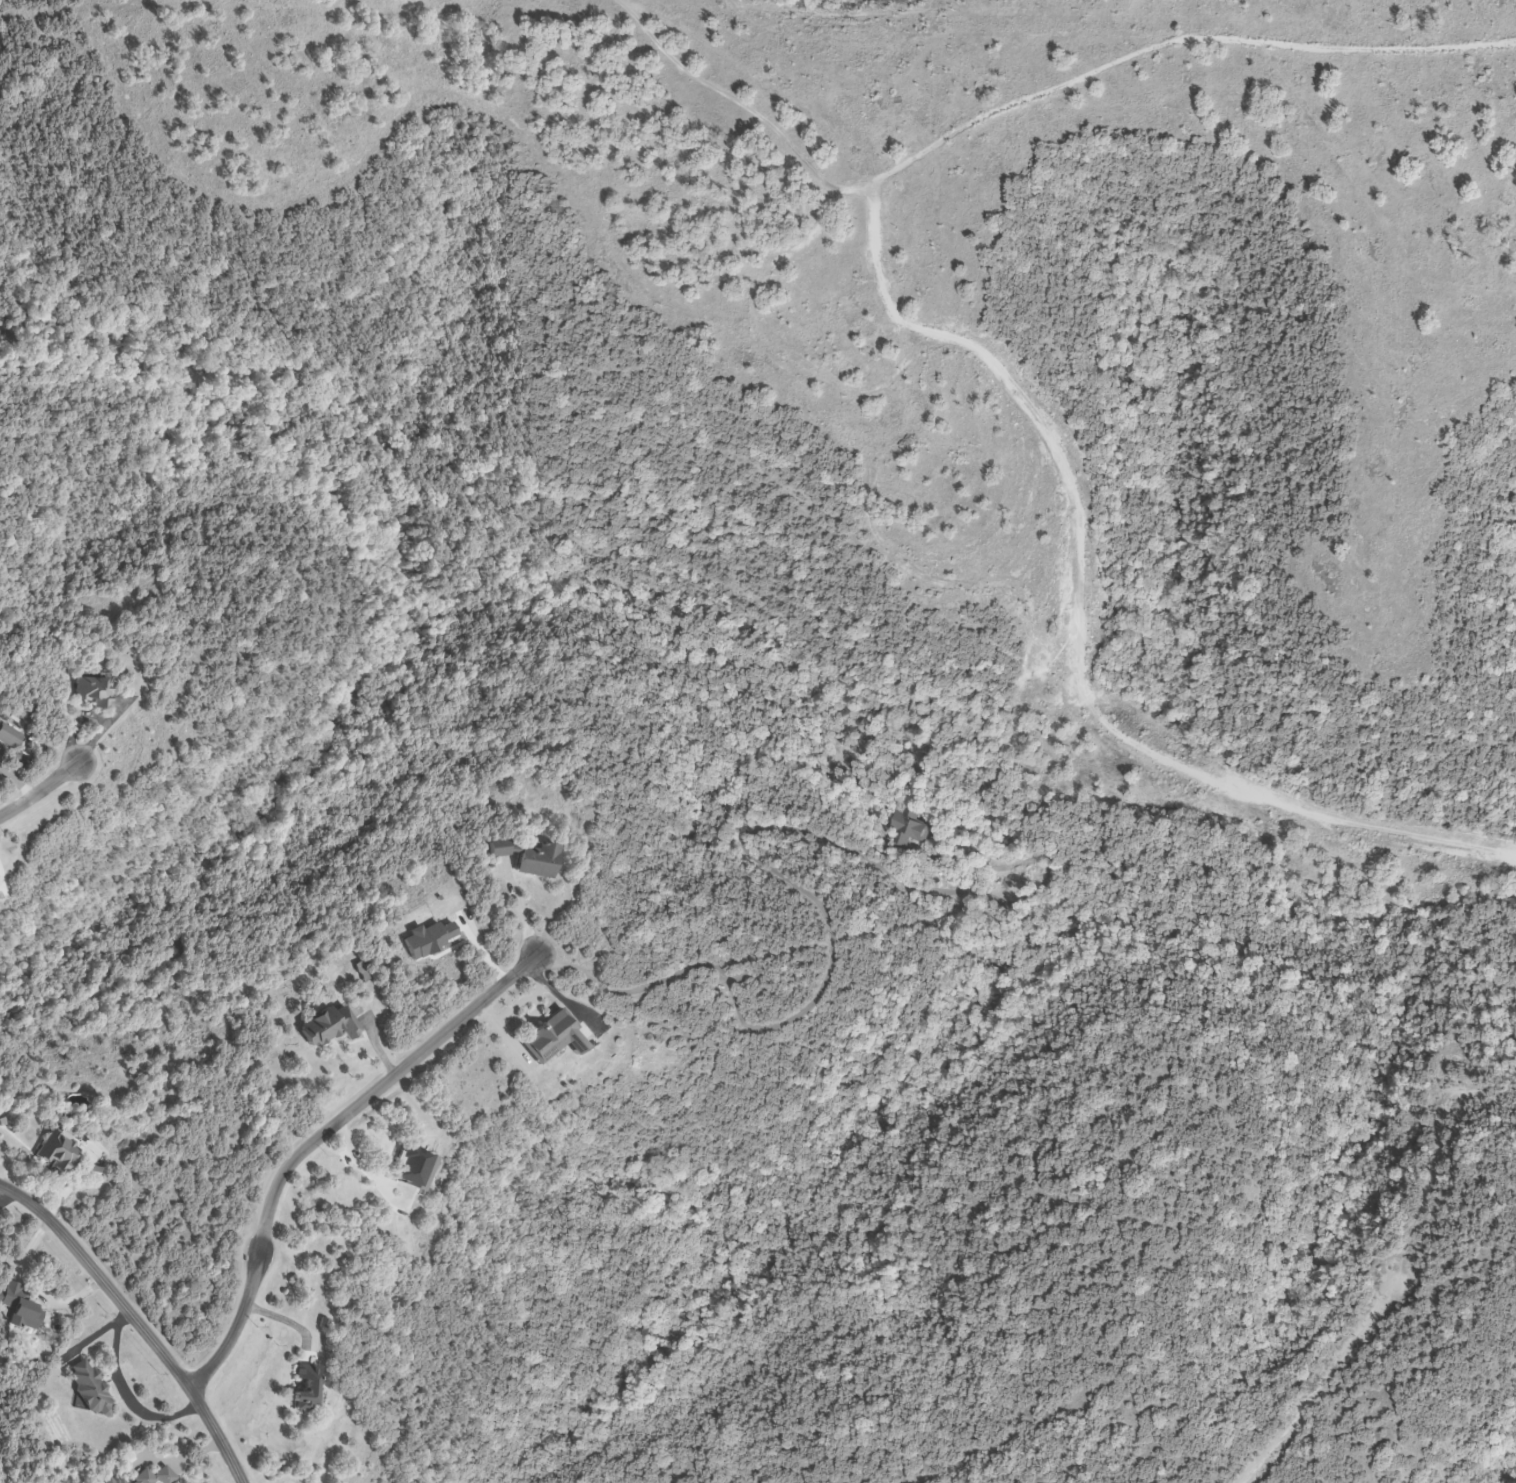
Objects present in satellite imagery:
building: (92, 691)
building: (7, 737)
road: (38, 790)
building: (905, 829)
building: (525, 857)
road: (529, 910)
road: (830, 930)
building: (428, 939)
building: (327, 1027)
building: (551, 1038)
road: (316, 1139)
building: (55, 1153)
road: (361, 1166)
building: (410, 1167)
road: (35, 1290)
building: (18, 1308)
road: (137, 1319)
building: (305, 1387)
building: (89, 1390)
road: (1318, 1390)
building: (155, 1477)
building: (106, 1481)
building: (118, 1481)

